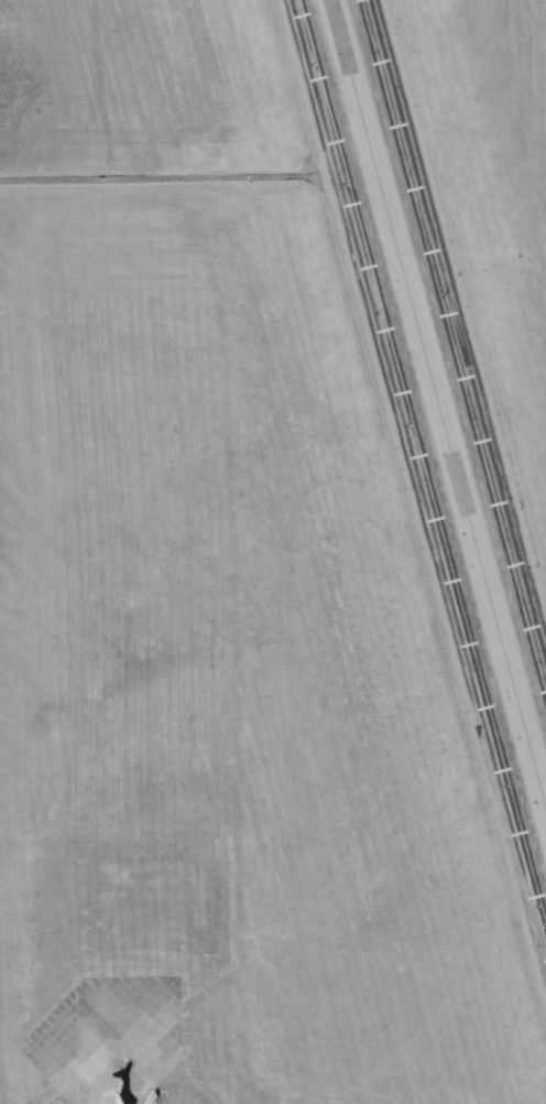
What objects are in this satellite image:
railway: (275, 392)
airport taxiway: (438, 404)
airport: (273, 552)

